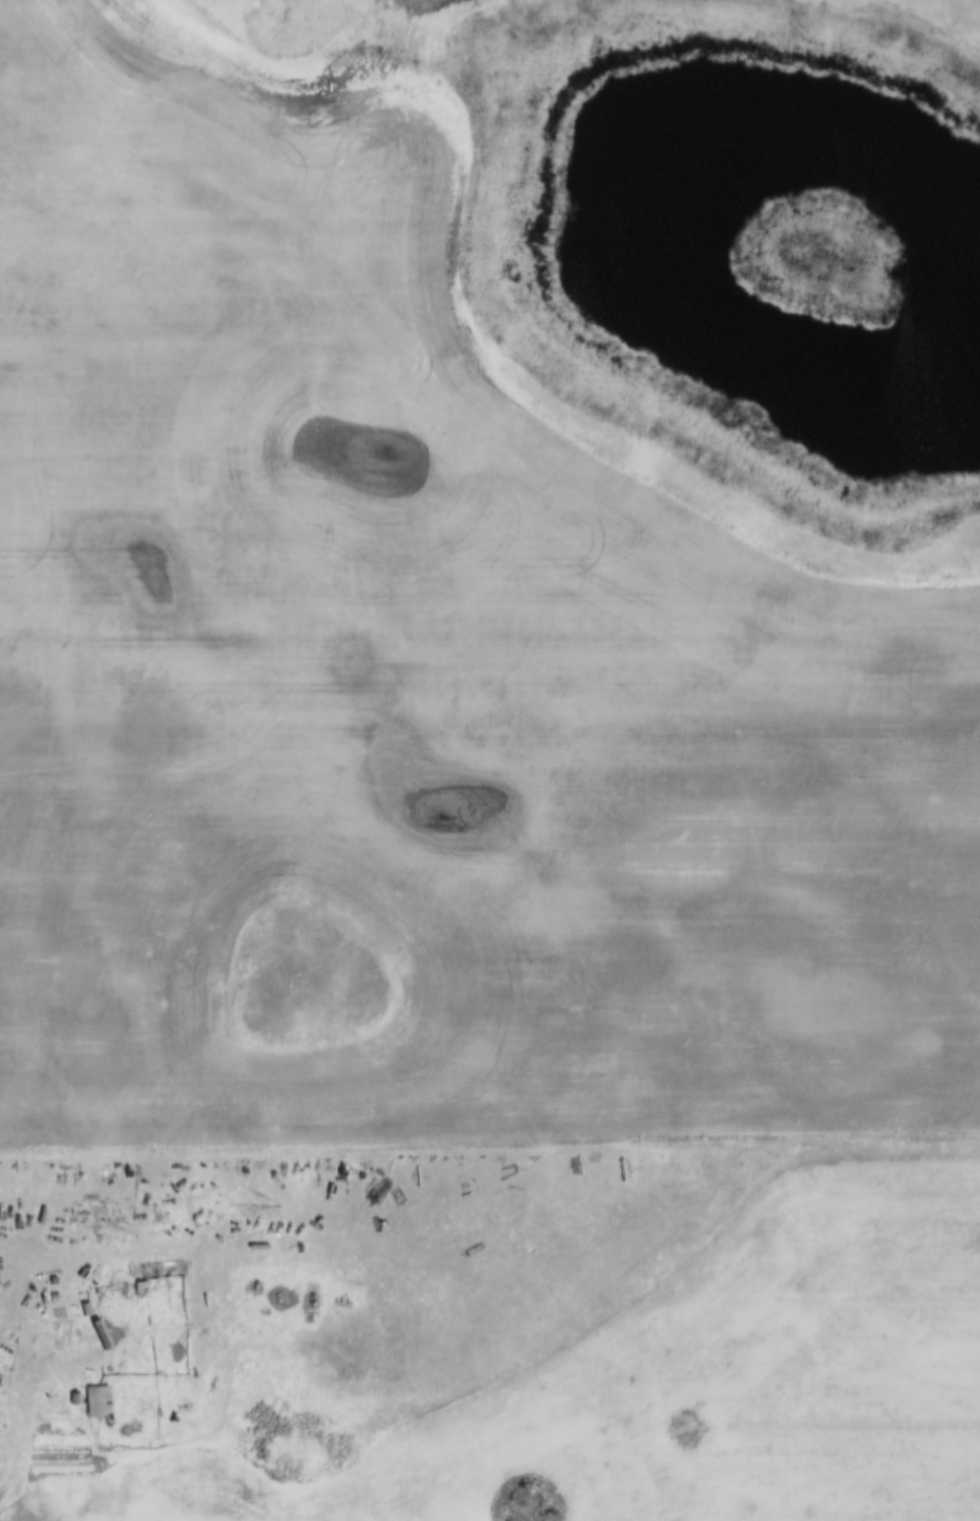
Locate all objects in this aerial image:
road: (12, 1306)

